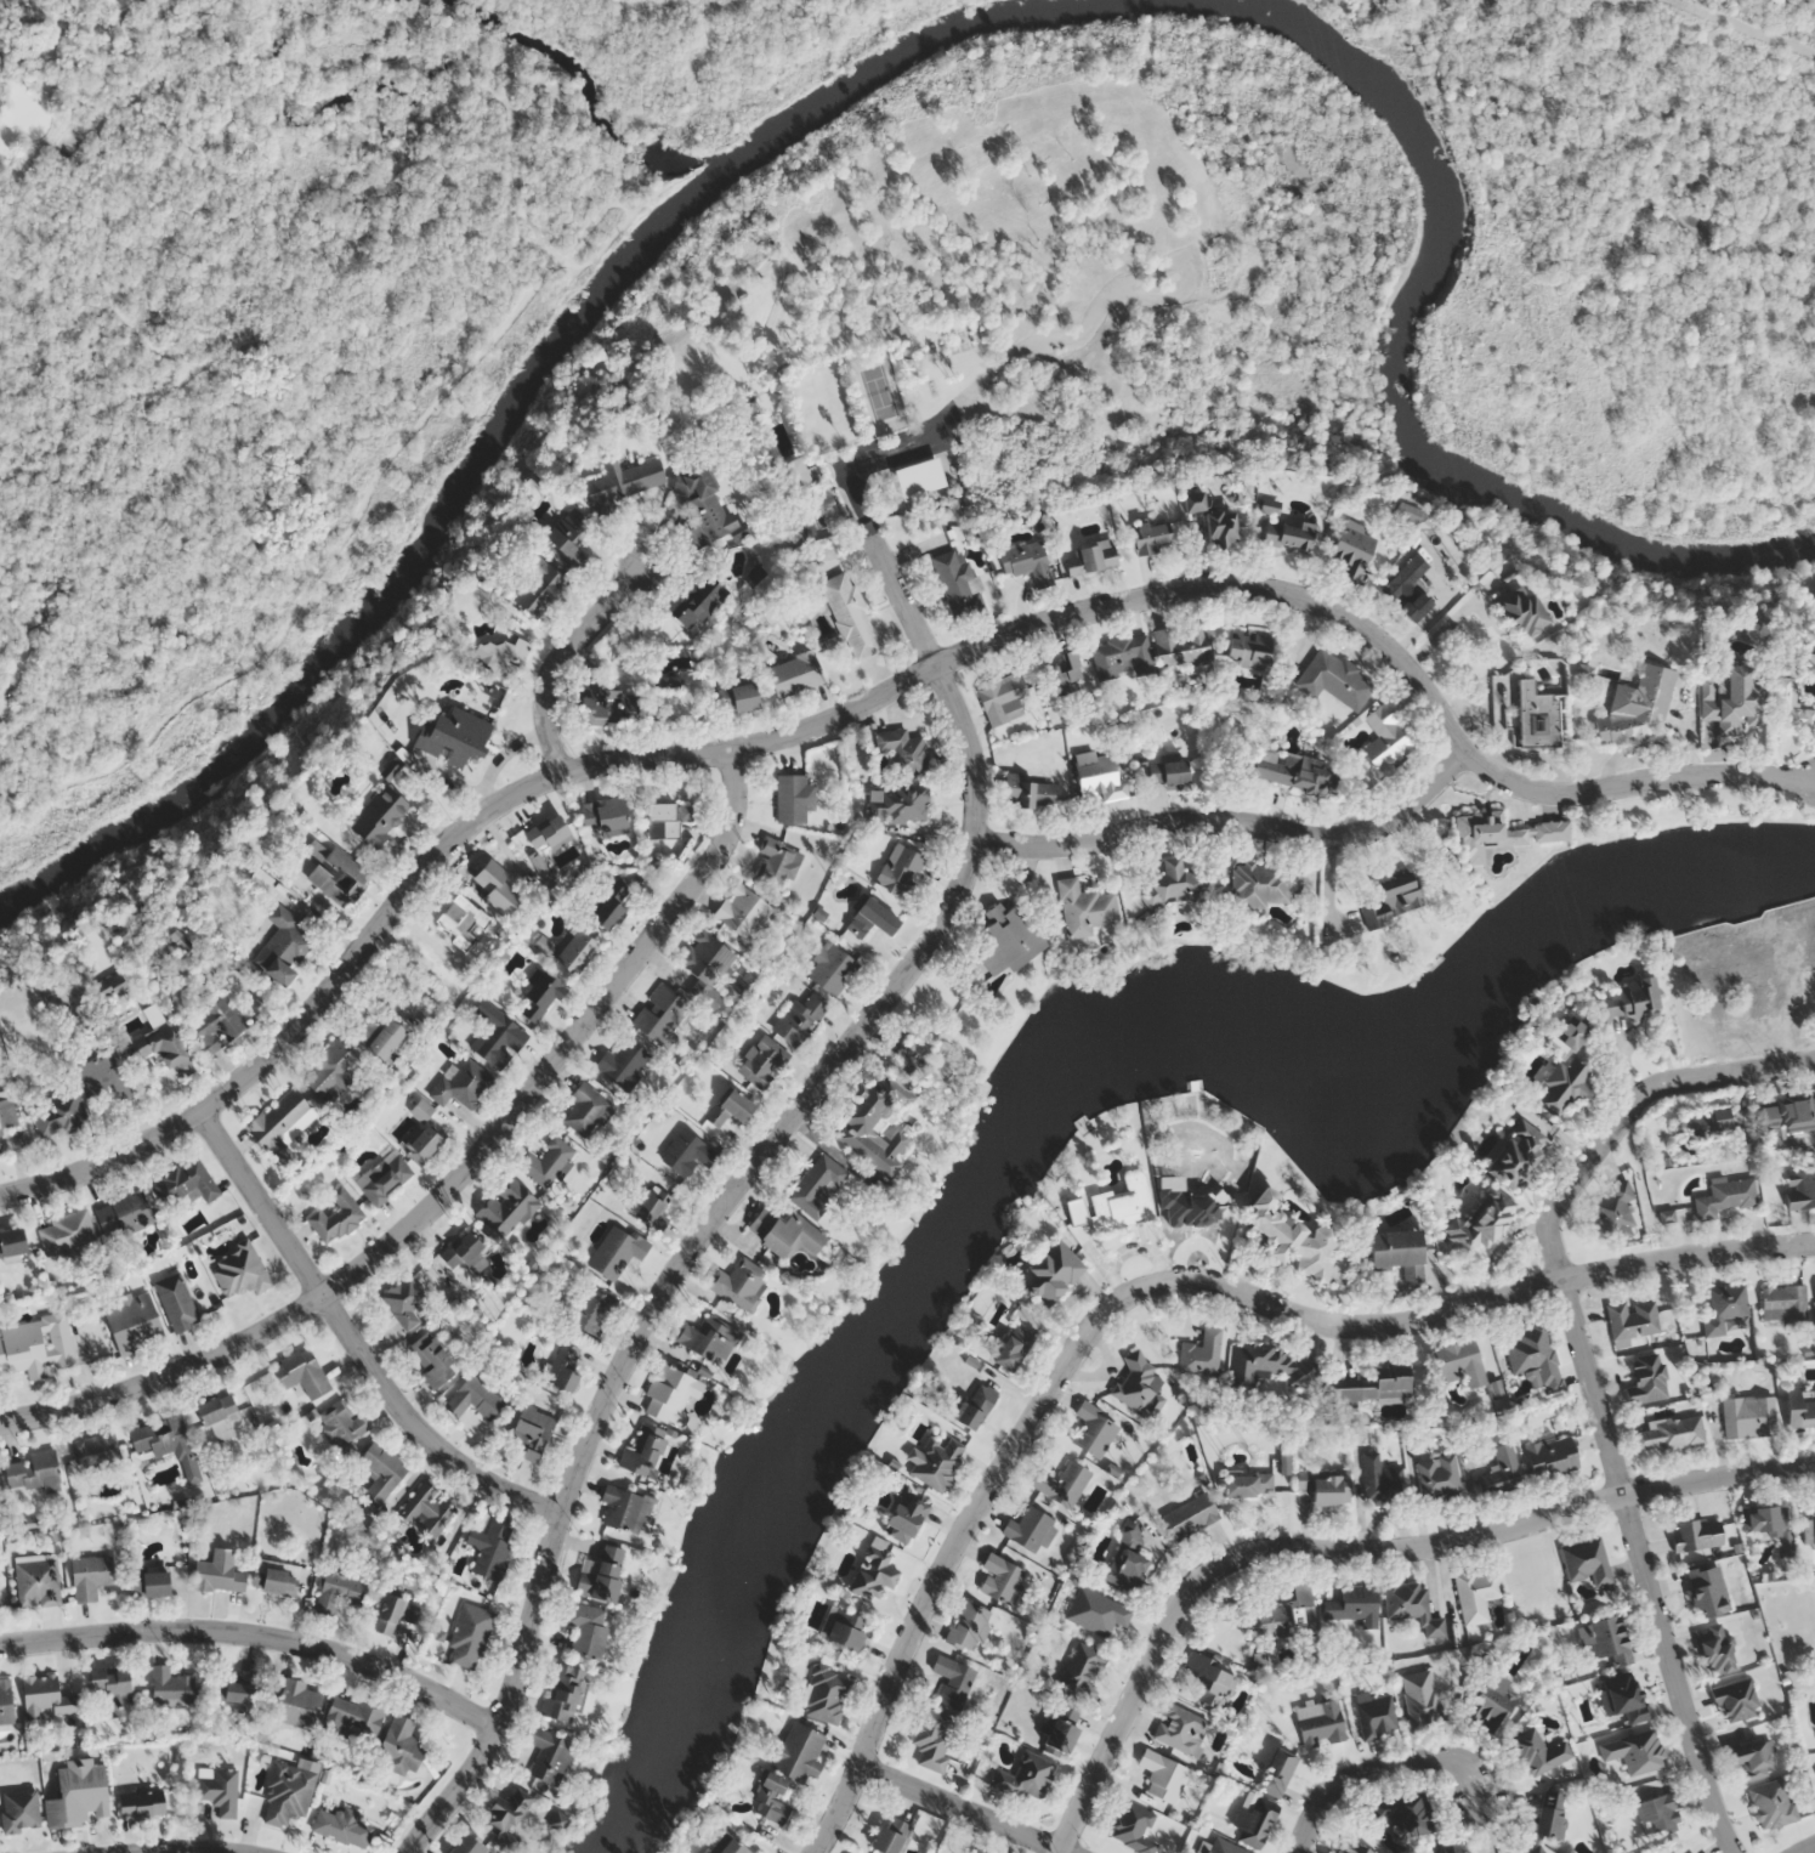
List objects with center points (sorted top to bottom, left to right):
road: (5, 7)
building: (572, 112)
road: (107, 143)
road: (371, 185)
road: (629, 216)
park: (248, 348)
road: (97, 408)
building: (624, 481)
building: (1192, 500)
building: (703, 505)
building: (1405, 511)
building: (1220, 528)
building: (1152, 535)
building: (1287, 535)
building: (568, 537)
building: (1352, 549)
building: (1089, 559)
building: (1028, 562)
road: (318, 574)
building: (957, 582)
power tower: (1465, 586)
building: (1408, 588)
building: (537, 589)
building: (698, 602)
building: (849, 616)
building: (1521, 617)
building: (1181, 646)
building: (1248, 648)
road: (22, 653)
building: (500, 656)
road: (563, 656)
building: (1122, 657)
building: (794, 674)
building: (1064, 675)
building: (1338, 679)
building: (738, 697)
road: (873, 697)
building: (1002, 698)
building: (1730, 702)
building: (605, 705)
building: (1792, 705)
building: (1637, 707)
building: (1536, 716)
building: (452, 735)
building: (1384, 737)
building: (903, 749)
building: (1291, 770)
building: (1168, 773)
building: (1097, 777)
building: (1026, 792)
road: (7, 795)
building: (794, 799)
building: (900, 804)
building: (602, 815)
building: (379, 816)
building: (665, 820)
road: (1237, 822)
building: (548, 833)
building: (1499, 834)
building: (777, 861)
building: (898, 869)
building: (333, 873)
building: (1170, 884)
building: (494, 885)
building: (1264, 885)
building: (1393, 900)
building: (609, 906)
building: (1084, 908)
building: (742, 912)
building: (869, 918)
building: (461, 922)
building: (1006, 939)
building: (282, 948)
building: (568, 951)
building: (704, 957)
building: (829, 969)
building: (110, 987)
building: (540, 997)
power tower: (1588, 998)
building: (1630, 999)
building: (660, 1014)
building: (798, 1019)
building: (220, 1022)
building: (495, 1036)
building: (380, 1037)
building: (163, 1044)
building: (624, 1064)
building: (758, 1064)
building: (330, 1070)
building: (1561, 1071)
building: (103, 1078)
building: (463, 1083)
building: (585, 1109)
road: (1629, 1109)
building: (727, 1110)
building: (880, 1110)
building: (7, 1111)
building: (59, 1113)
building: (1790, 1120)
building: (1707, 1123)
building: (279, 1124)
building: (1, 1144)
building: (421, 1145)
building: (686, 1154)
building: (1516, 1155)
building: (546, 1162)
building: (382, 1177)
road: (459, 1180)
building: (186, 1181)
building: (818, 1185)
road: (741, 1188)
building: (1802, 1189)
building: (1728, 1197)
building: (1121, 1205)
building: (507, 1207)
building: (652, 1209)
building: (1613, 1212)
building: (125, 1214)
building: (334, 1217)
building: (1484, 1220)
building: (66, 1232)
building: (784, 1232)
building: (1289, 1237)
building: (13, 1242)
building: (616, 1252)
building: (464, 1253)
building: (1396, 1253)
building: (243, 1270)
building: (1051, 1273)
building: (739, 1285)
road: (1157, 1287)
building: (177, 1302)
building: (404, 1302)
building: (1783, 1302)
building: (1723, 1307)
building: (592, 1313)
building: (134, 1321)
building: (1633, 1321)
road: (353, 1339)
building: (707, 1339)
building: (36, 1345)
building: (1013, 1349)
building: (1202, 1354)
building: (1535, 1356)
building: (432, 1360)
building: (1460, 1362)
building: (562, 1367)
building: (1271, 1367)
building: (304, 1372)
building: (1647, 1379)
building: (1140, 1387)
building: (1371, 1388)
power tower: (1697, 1392)
building: (667, 1395)
building: (472, 1399)
building: (974, 1406)
building: (1799, 1410)
building: (220, 1416)
building: (1748, 1417)
building: (341, 1423)
building: (1094, 1430)
building: (529, 1434)
building: (1668, 1434)
building: (169, 1443)
building: (95, 1449)
building: (645, 1450)
building: (1550, 1458)
building: (936, 1462)
building: (34, 1470)
building: (381, 1472)
building: (1499, 1473)
building: (1439, 1478)
building: (1382, 1481)
building: (1061, 1485)
building: (1247, 1485)
building: (1325, 1486)
building: (427, 1508)
building: (624, 1509)
building: (904, 1515)
building: (1190, 1517)
building: (1771, 1525)
building: (1808, 1529)
building: (1028, 1530)
building: (1697, 1535)
building: (490, 1547)
road: (1356, 1552)
building: (1125, 1560)
building: (1586, 1562)
road: (1644, 1568)
building: (220, 1571)
building: (872, 1571)
building: (92, 1575)
building: (600, 1575)
building: (276, 1576)
building: (1000, 1579)
building: (38, 1580)
building: (152, 1582)
building: (341, 1586)
building: (1707, 1589)
building: (1476, 1594)
building: (0, 1606)
building: (1354, 1606)
building: (1411, 1606)
building: (1096, 1611)
building: (396, 1613)
building: (1283, 1616)
building: (966, 1626)
building: (845, 1630)
building: (586, 1631)
road: (257, 1632)
building: (470, 1636)
building: (1609, 1642)
building: (1715, 1650)
building: (1521, 1656)
building: (1082, 1672)
building: (952, 1681)
building: (1208, 1682)
building: (171, 1685)
building: (239, 1687)
building: (114, 1689)
building: (565, 1693)
building: (46, 1696)
building: (826, 1696)
building: (1622, 1698)
building: (1420, 1699)
building: (295, 1700)
building: (6, 1701)
building: (1735, 1701)
building: (1488, 1711)
building: (1374, 1716)
building: (353, 1717)
building: (1320, 1722)
building: (1181, 1729)
building: (1056, 1736)
building: (931, 1740)
building: (401, 1745)
building: (1634, 1751)
building: (1539, 1752)
building: (798, 1753)
building: (550, 1755)
building: (1749, 1759)
building: (1276, 1772)
road: (1377, 1772)
building: (1023, 1776)
building: (1163, 1776)
building: (220, 1789)
building: (80, 1793)
building: (288, 1795)
building: (522, 1797)
building: (770, 1800)
building: (144, 1803)
building: (1771, 1803)
road: (962, 1808)
building: (1407, 1810)
building: (1660, 1813)
building: (1549, 1818)
building: (561, 1820)
building: (1254, 1821)
building: (503, 1824)
building: (341, 1825)
building: (1133, 1829)
building: (889, 1836)
building: (470, 1844)
building: (737, 1846)
building: (1221, 1847)
building: (1351, 1848)
building: (1446, 1848)
road: (1809, 1849)
road: (200, 1851)
building: (975, 1851)
building: (1535, 1851)
building: (1677, 1852)

